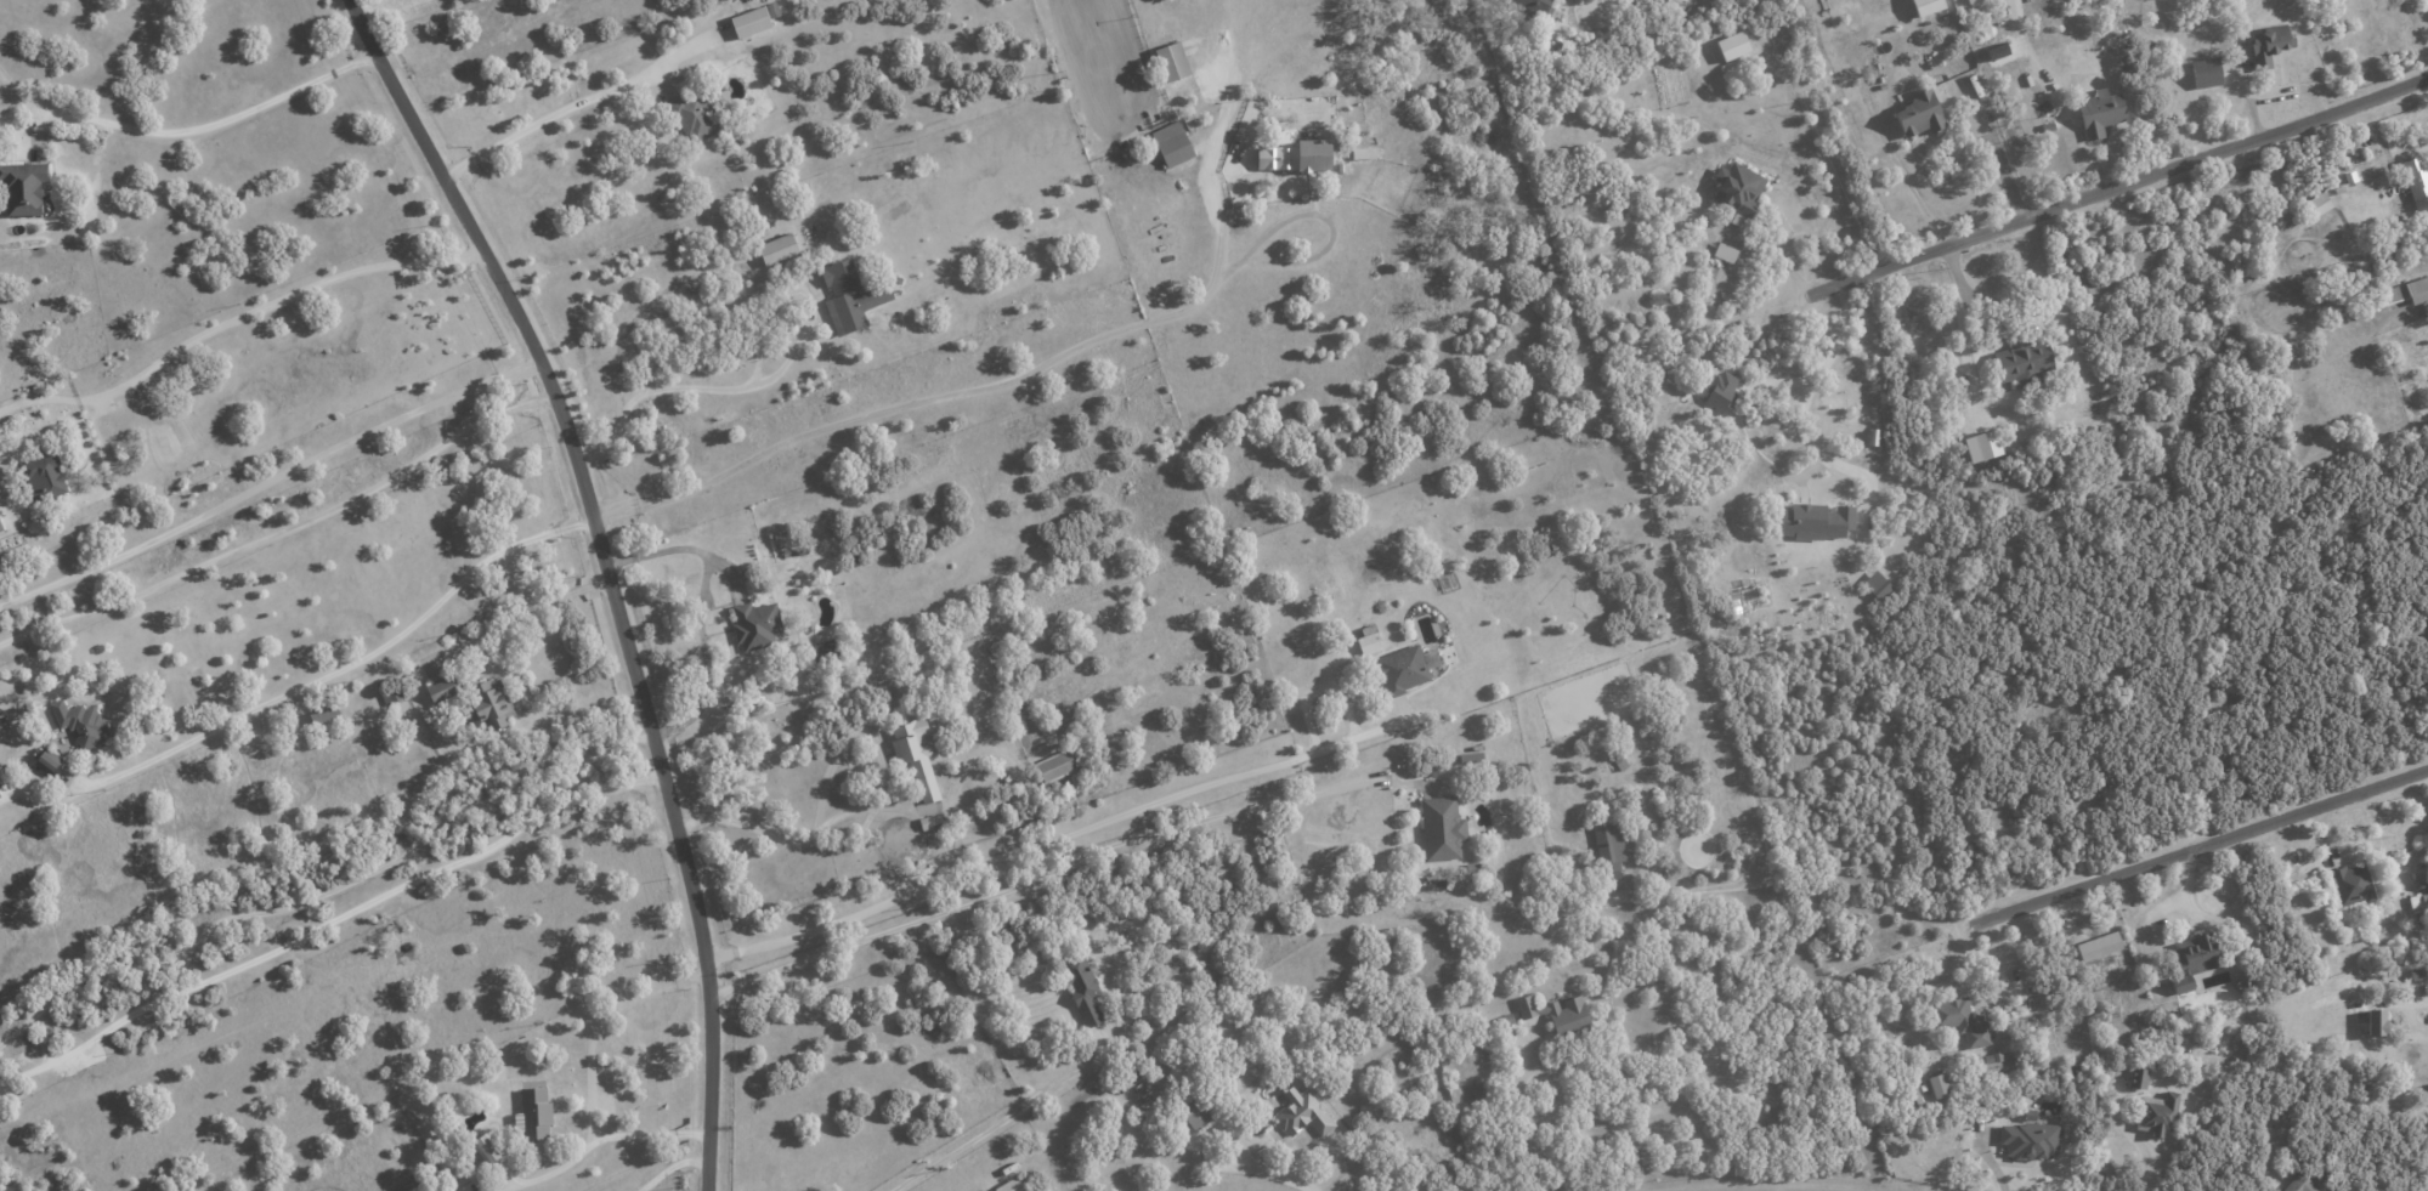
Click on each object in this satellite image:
building: (1663, 0)
building: (1969, 1)
building: (1535, 5)
building: (1925, 6)
building: (749, 22)
building: (1732, 45)
building: (2268, 45)
building: (1996, 51)
building: (1171, 61)
building: (2205, 73)
road: (584, 97)
building: (2099, 113)
building: (1919, 114)
building: (692, 115)
road: (215, 124)
building: (1171, 143)
building: (1363, 153)
building: (1304, 155)
road: (1900, 157)
road: (1999, 169)
building: (2416, 182)
building: (23, 187)
road: (2124, 187)
building: (1737, 191)
building: (2319, 203)
road: (1319, 215)
building: (777, 249)
building: (1724, 253)
road: (1779, 255)
building: (2402, 293)
building: (849, 297)
road: (643, 310)
road: (203, 331)
building: (2022, 363)
road: (1023, 376)
road: (768, 379)
building: (1721, 391)
road: (1804, 395)
building: (44, 477)
road: (268, 480)
building: (1815, 521)
road: (282, 528)
building: (0, 529)
road: (607, 572)
building: (1877, 585)
road: (701, 607)
road: (521, 617)
building: (754, 625)
building: (1368, 640)
building: (824, 651)
building: (1402, 669)
road: (317, 679)
building: (441, 688)
building: (489, 704)
building: (323, 714)
building: (80, 722)
building: (915, 755)
building: (1472, 758)
building: (47, 761)
building: (1054, 766)
road: (991, 784)
road: (822, 790)
building: (0, 793)
building: (1441, 828)
road: (1047, 841)
building: (1607, 844)
road: (2197, 846)
building: (2350, 885)
road: (326, 894)
building: (2417, 900)
road: (329, 921)
building: (2098, 946)
building: (2192, 957)
building: (1081, 987)
building: (1557, 1014)
building: (1959, 1021)
building: (2375, 1022)
building: (1991, 1065)
road: (588, 1072)
building: (2136, 1078)
building: (1939, 1085)
building: (1479, 1091)
building: (533, 1113)
building: (1194, 1113)
building: (1302, 1113)
building: (2156, 1113)
road: (1003, 1117)
road: (1528, 1128)
road: (650, 1133)
building: (2030, 1139)
building: (2426, 1147)
building: (486, 1149)
road: (1991, 1163)
road: (670, 1164)
road: (2146, 1164)
road: (1275, 1174)
building: (2300, 1184)
building: (1011, 1185)
building: (990, 1190)

